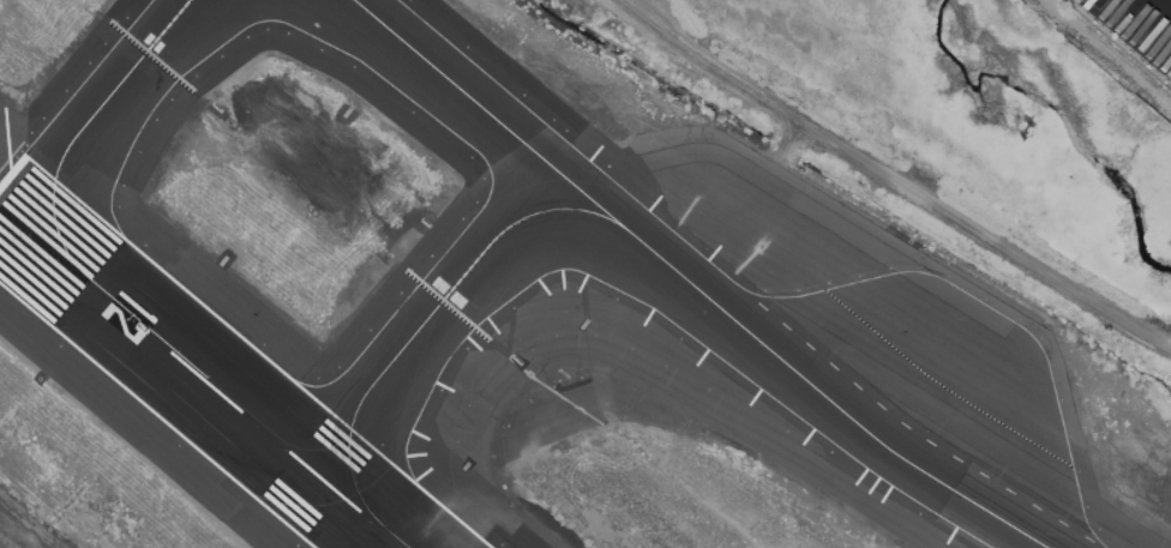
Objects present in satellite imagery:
road: (1154, 13)
airport taxiway: (92, 120)
airport taxiway: (693, 284)
airport: (524, 299)
airport taxiway: (430, 314)
airport runway: (202, 377)

